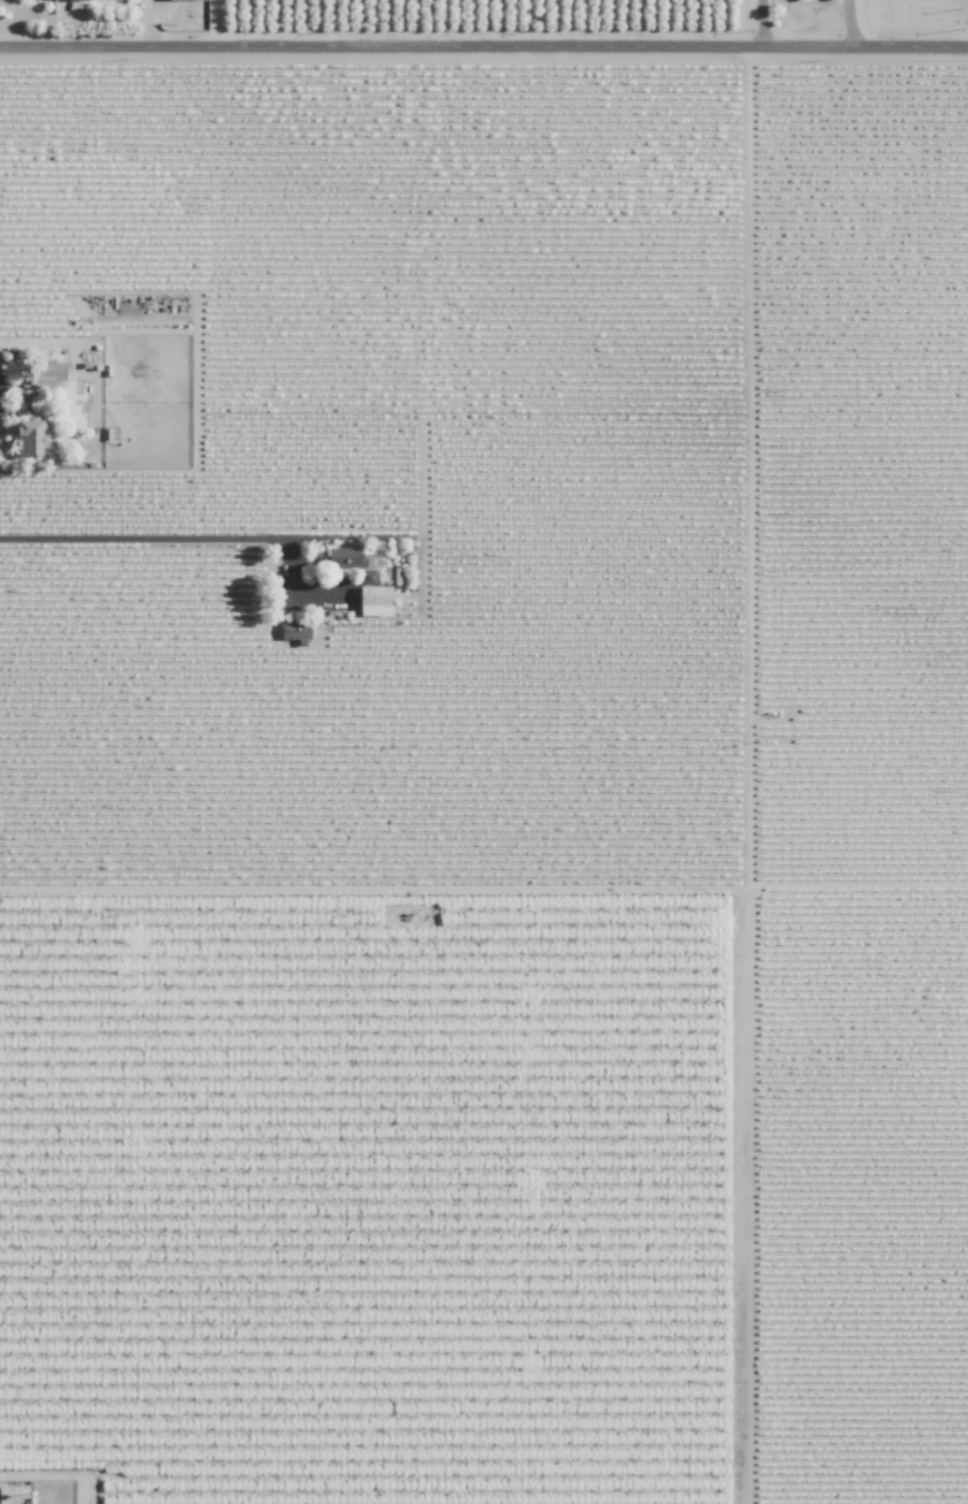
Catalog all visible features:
road: (761, 23)
road: (851, 23)
road: (484, 47)
building: (56, 371)
building: (31, 438)
road: (175, 537)
building: (377, 601)
building: (298, 631)

